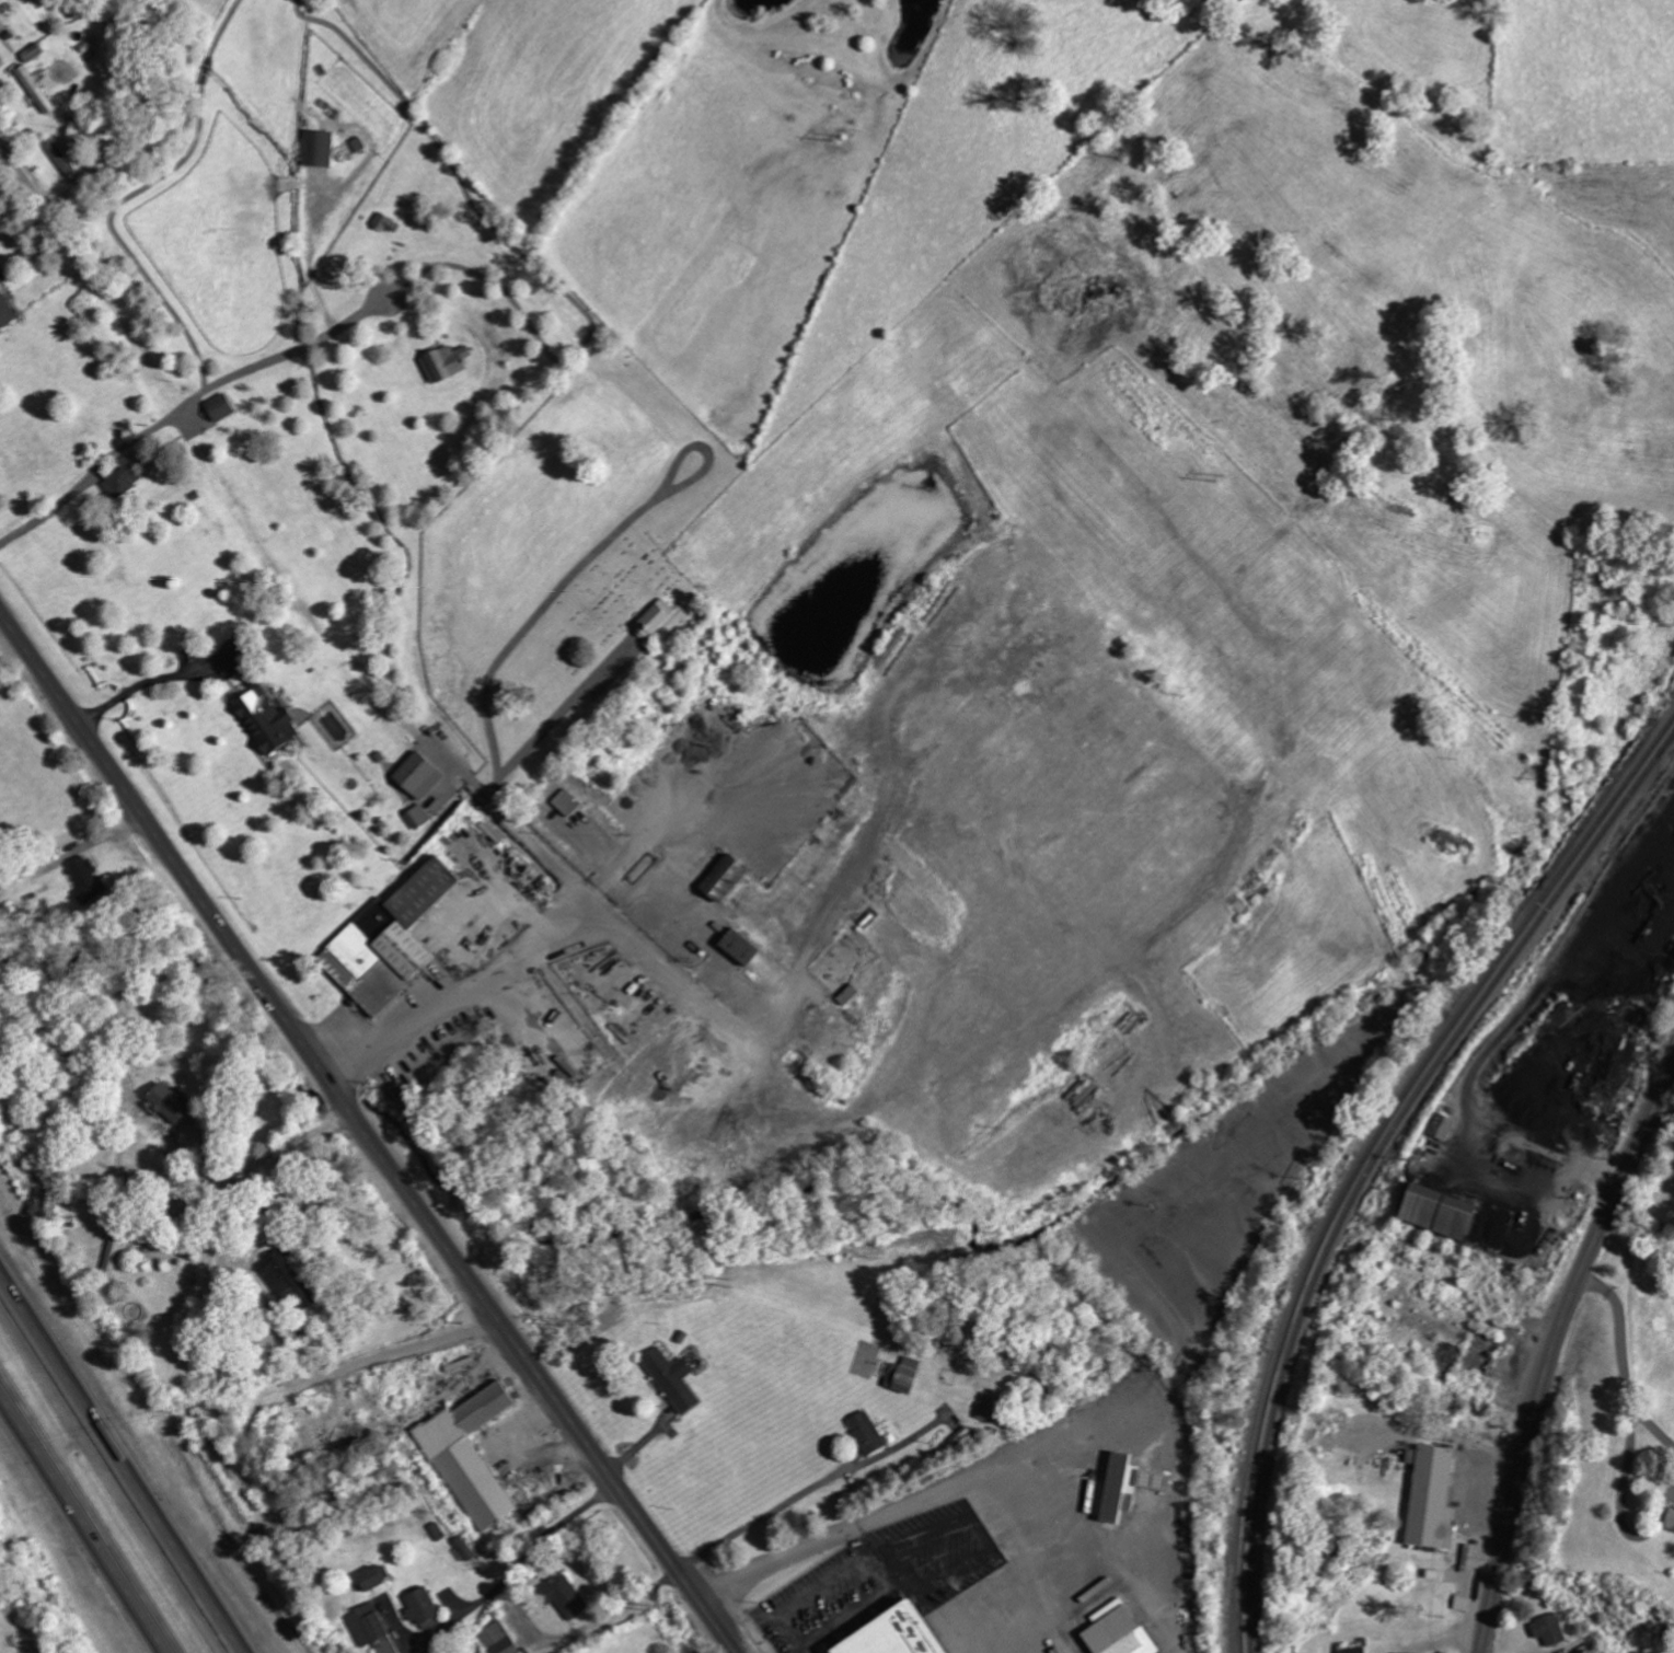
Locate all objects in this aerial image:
building: (35, 53)
building: (2, 62)
building: (38, 89)
building: (319, 148)
building: (64, 158)
road: (23, 171)
building: (385, 222)
building: (446, 363)
road: (183, 404)
building: (220, 407)
building: (124, 478)
park: (612, 609)
building: (656, 619)
building: (267, 720)
building: (419, 774)
building: (418, 816)
railway: (1604, 870)
building: (725, 877)
building: (90, 880)
building: (392, 938)
building: (740, 946)
building: (848, 994)
building: (170, 1102)
building: (1442, 1125)
road: (366, 1132)
railway: (1371, 1151)
railway: (1377, 1160)
building: (1439, 1211)
building: (114, 1256)
building: (286, 1278)
road: (1550, 1351)
road: (1625, 1356)
building: (907, 1374)
building: (673, 1378)
building: (989, 1407)
building: (866, 1432)
building: (472, 1455)
road: (117, 1470)
building: (1128, 1484)
building: (1432, 1496)
road: (89, 1514)
building: (1671, 1519)
building: (374, 1576)
building: (564, 1595)
building: (424, 1608)
building: (372, 1628)
building: (1549, 1629)
building: (1119, 1630)
building: (897, 1632)
building: (499, 1640)
building: (1354, 1650)

